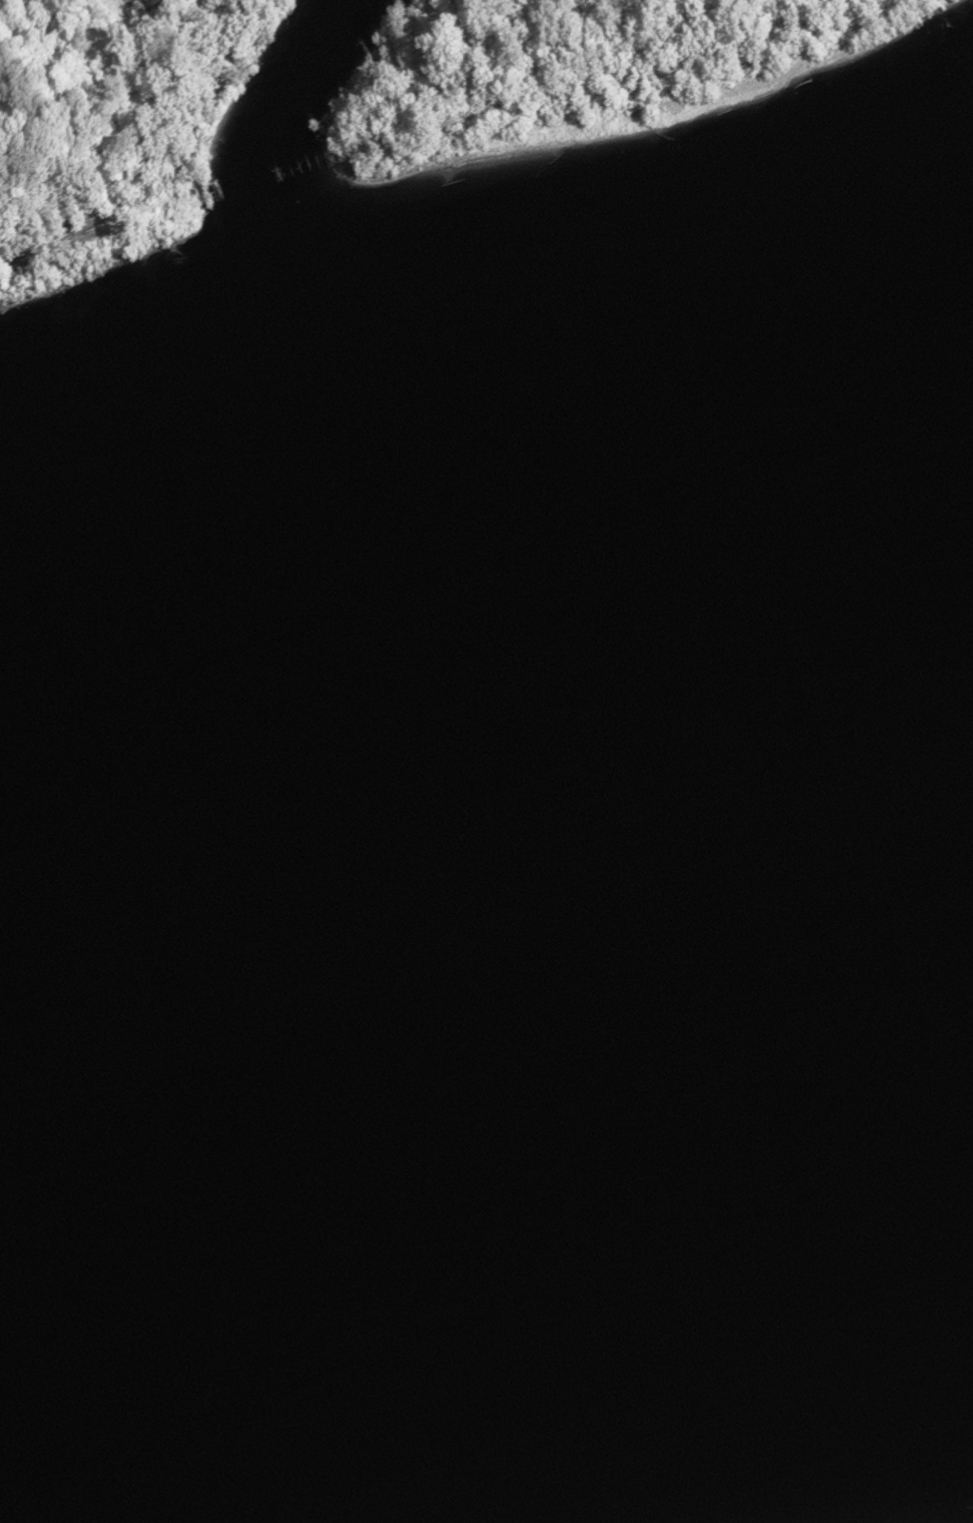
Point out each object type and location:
river: (224, 571)
river: (486, 1078)

